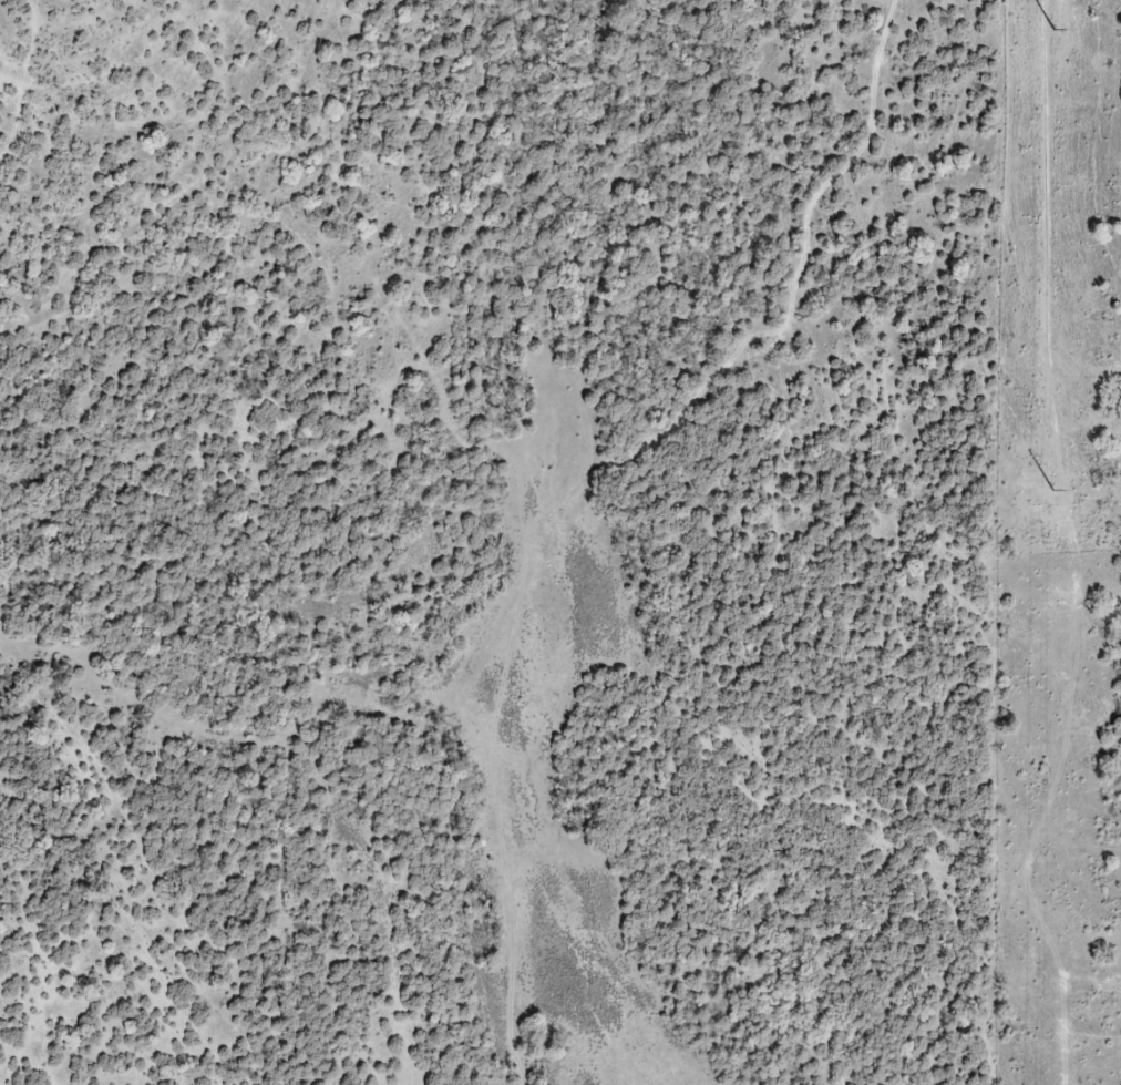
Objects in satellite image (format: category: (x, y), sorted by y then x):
power tower: (1053, 28)
power tower: (1052, 489)

